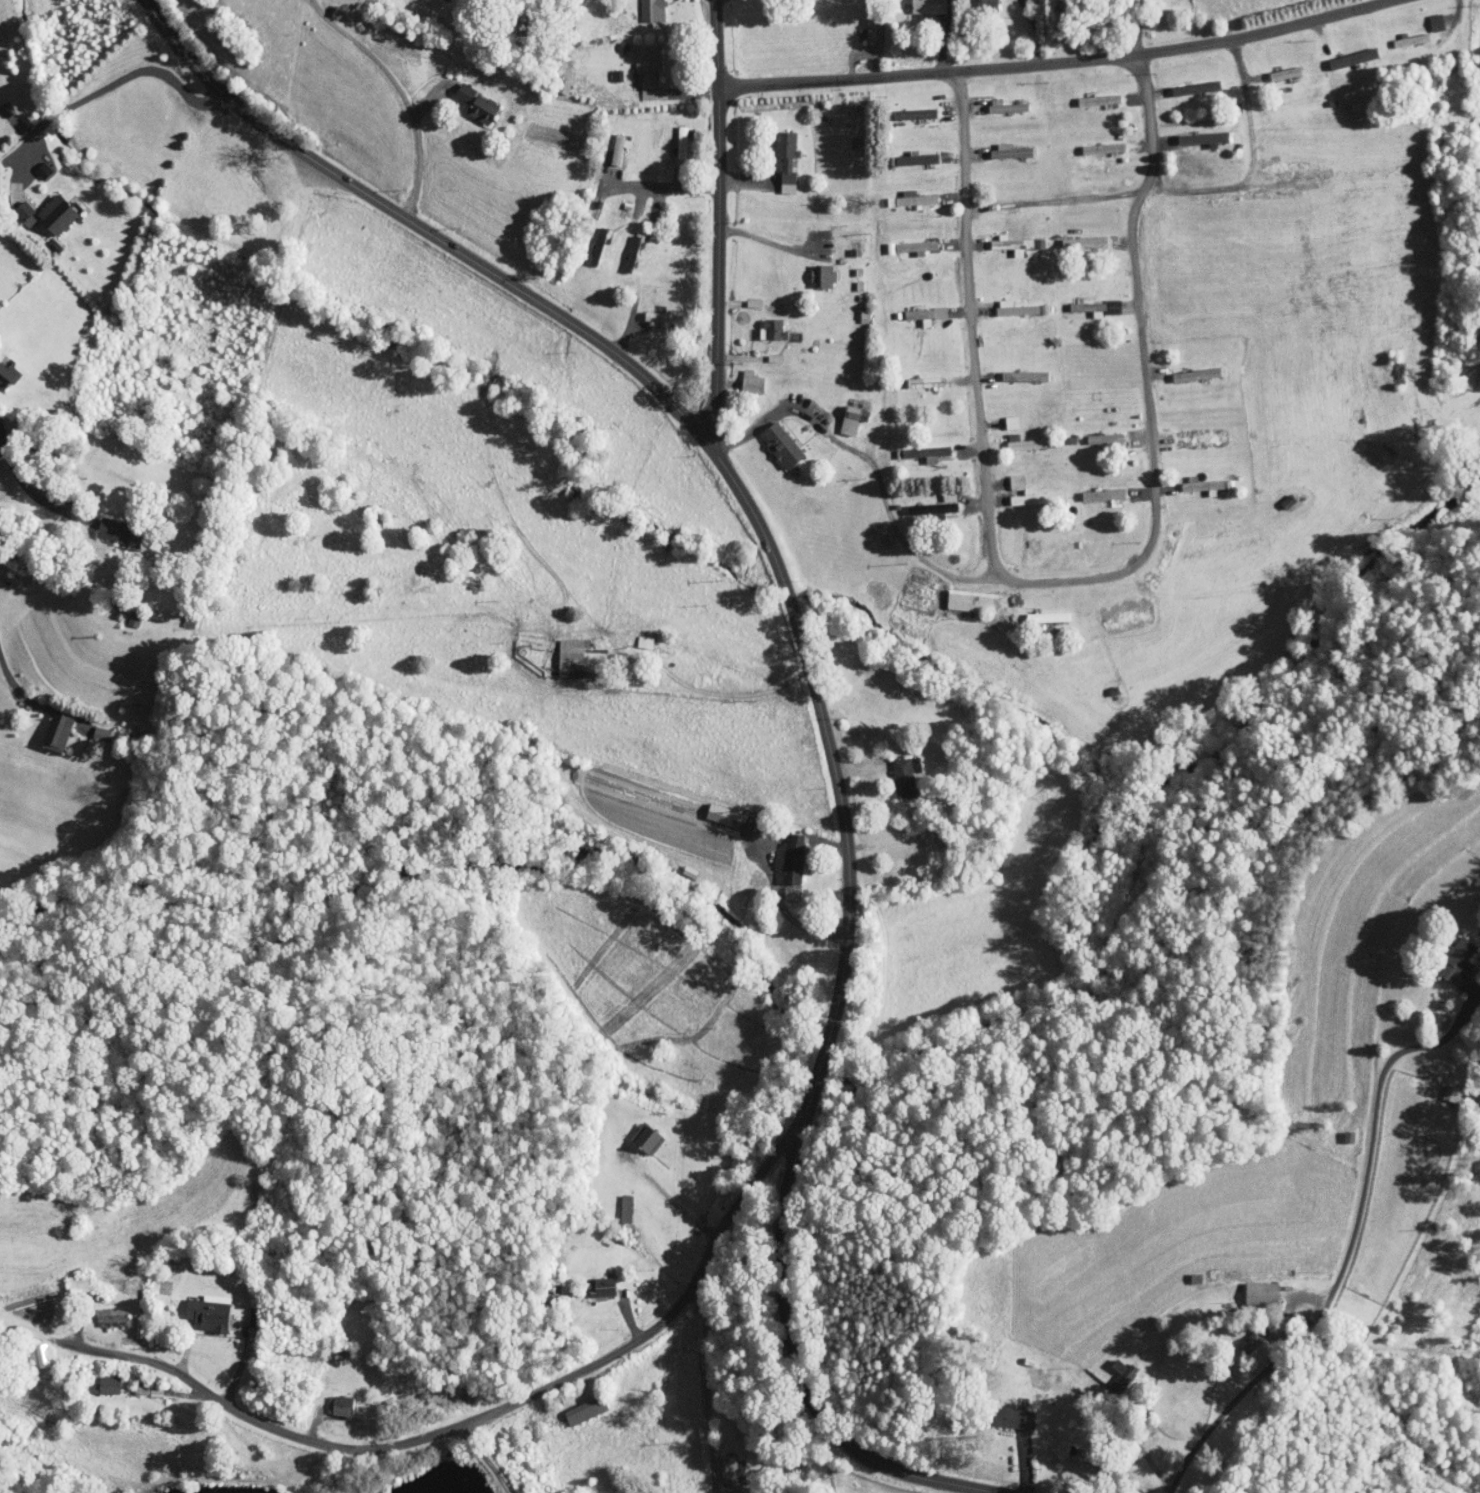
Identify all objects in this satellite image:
building: (982, 2)
building: (918, 3)
building: (643, 7)
building: (1426, 16)
building: (1346, 52)
road: (1413, 57)
road: (1056, 62)
building: (638, 63)
road: (145, 70)
building: (470, 98)
building: (989, 99)
building: (909, 107)
road: (56, 114)
road: (1249, 114)
road: (1149, 126)
road: (33, 134)
building: (1199, 134)
building: (674, 136)
building: (610, 142)
road: (965, 143)
road: (417, 150)
building: (779, 153)
building: (34, 165)
building: (1281, 173)
road: (663, 187)
building: (903, 193)
road: (1107, 199)
building: (53, 206)
road: (720, 220)
building: (830, 227)
building: (1003, 238)
building: (908, 241)
road: (769, 245)
building: (623, 247)
building: (813, 269)
building: (1087, 301)
building: (1010, 303)
building: (917, 309)
building: (657, 311)
building: (762, 323)
building: (4, 369)
building: (743, 376)
building: (843, 414)
building: (1009, 436)
building: (774, 440)
building: (918, 447)
road: (873, 462)
building: (1007, 476)
building: (1196, 480)
road: (26, 487)
building: (1028, 491)
building: (923, 503)
building: (113, 527)
road: (1073, 581)
building: (965, 595)
building: (1040, 611)
building: (125, 613)
building: (636, 635)
building: (563, 652)
road: (810, 667)
road: (24, 687)
road: (720, 693)
building: (50, 725)
building: (92, 728)
building: (898, 772)
building: (716, 808)
building: (785, 852)
building: (1455, 961)
building: (641, 1132)
building: (617, 1203)
road: (1349, 1249)
building: (596, 1280)
building: (1245, 1287)
building: (204, 1305)
building: (1237, 1339)
building: (36, 1349)
building: (1104, 1361)
building: (100, 1378)
road: (712, 1390)
building: (333, 1399)
building: (578, 1403)
building: (1015, 1412)
road: (445, 1429)
road: (485, 1458)
building: (718, 1463)
building: (724, 1488)
building: (677, 1491)
building: (1122, 1491)

